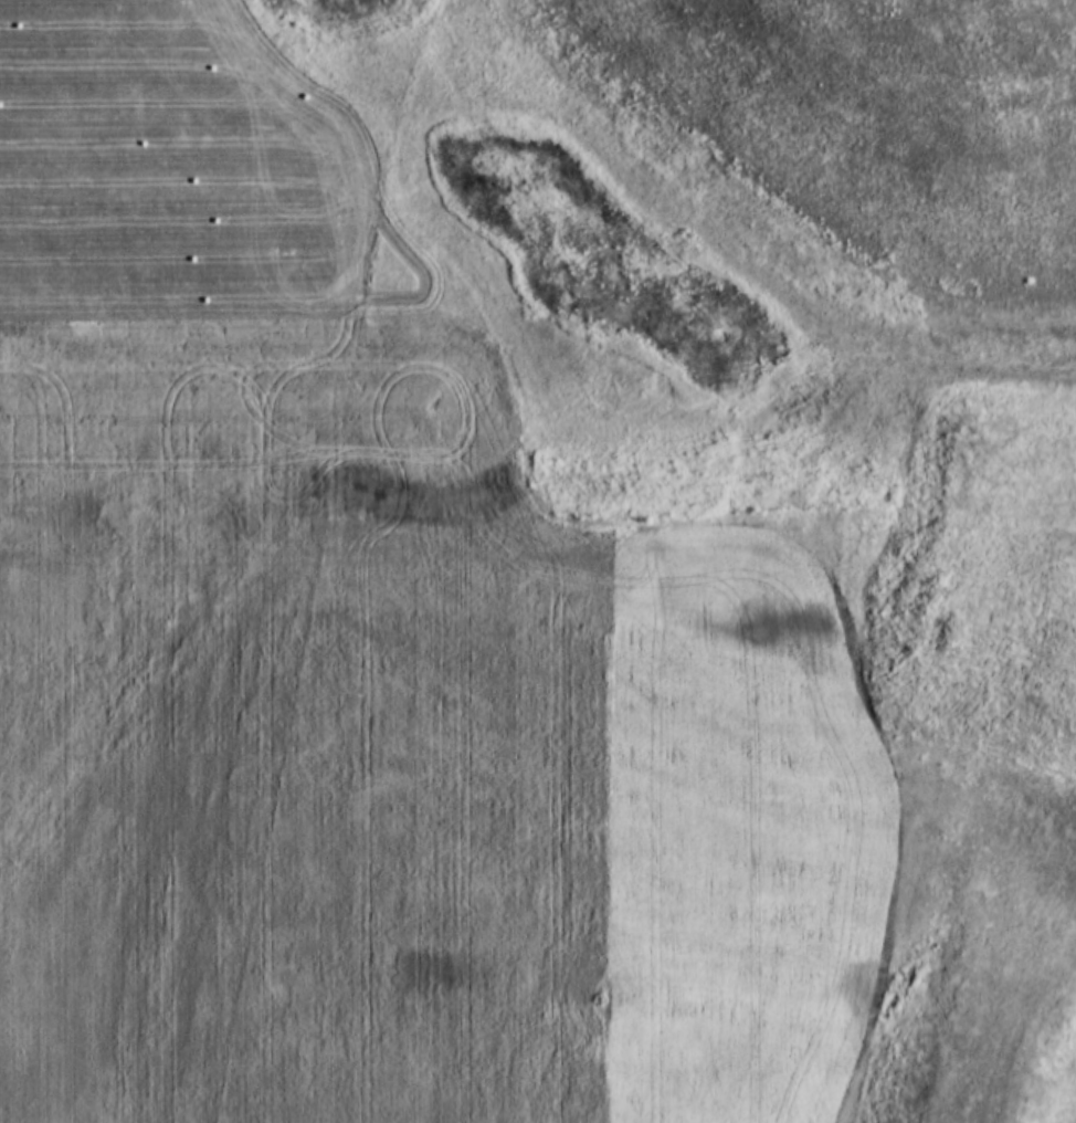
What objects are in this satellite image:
quarry: (482, 297)

